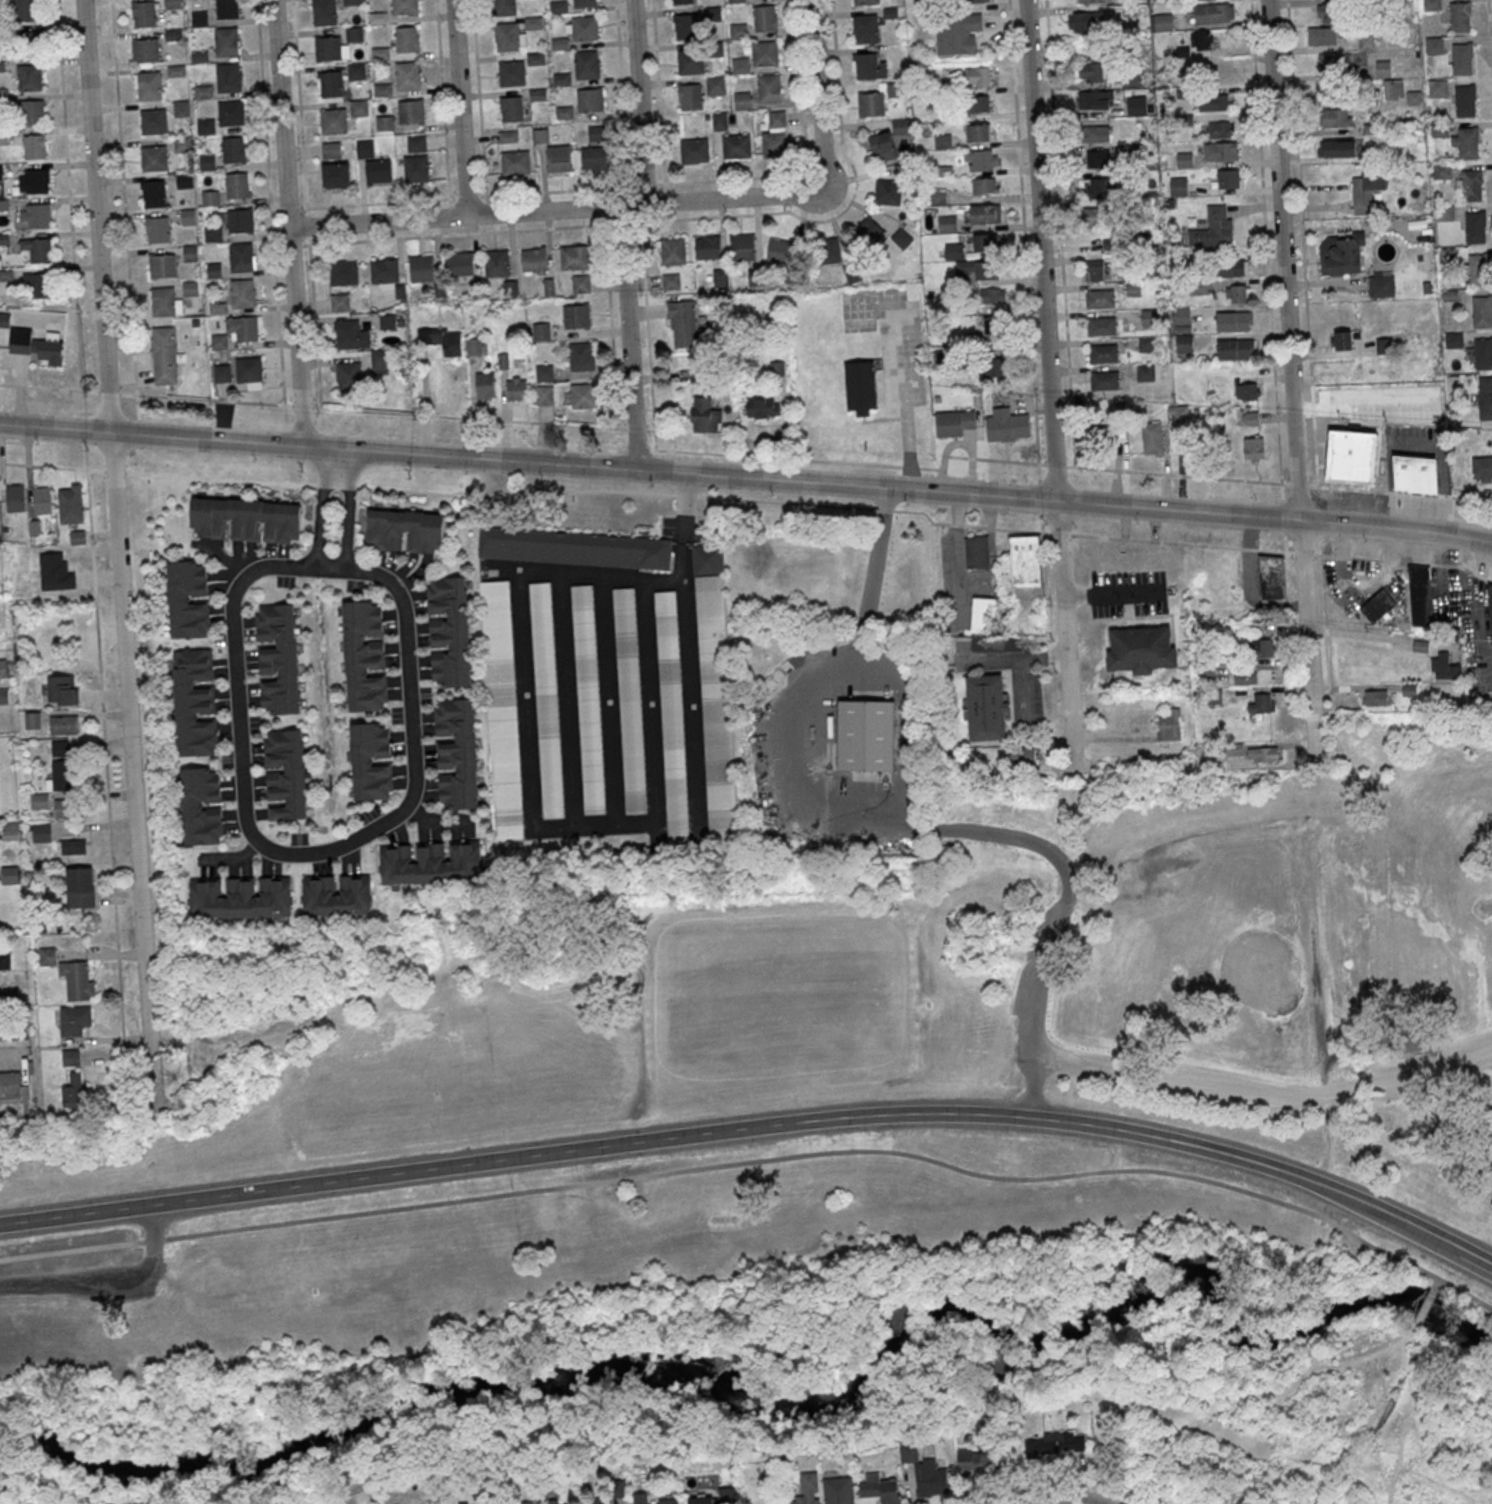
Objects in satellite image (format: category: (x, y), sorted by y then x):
building: (978, 1)
building: (1094, 1)
building: (351, 2)
building: (682, 2)
building: (865, 2)
building: (585, 3)
building: (1432, 4)
building: (405, 7)
building: (506, 7)
building: (226, 8)
building: (24, 9)
building: (325, 12)
building: (1328, 12)
building: (143, 13)
building: (1213, 13)
building: (1460, 16)
building: (766, 18)
building: (1084, 21)
building: (1161, 22)
building: (688, 26)
building: (866, 28)
road: (1490, 28)
building: (738, 31)
building: (957, 33)
building: (354, 34)
building: (1322, 35)
building: (509, 37)
building: (408, 39)
building: (225, 41)
building: (1366, 41)
building: (1198, 42)
building: (1434, 45)
building: (331, 48)
building: (145, 49)
building: (1090, 49)
building: (765, 53)
building: (1462, 57)
building: (690, 61)
building: (1334, 61)
building: (587, 64)
building: (740, 65)
building: (869, 65)
building: (1383, 68)
building: (356, 71)
building: (1090, 72)
building: (511, 73)
building: (408, 75)
building: (978, 76)
building: (29, 77)
building: (227, 77)
building: (1133, 79)
building: (330, 83)
building: (148, 85)
building: (716, 85)
building: (769, 88)
building: (1438, 88)
building: (1393, 89)
building: (383, 90)
road: (800, 90)
road: (817, 93)
road: (658, 94)
road: (622, 96)
building: (692, 96)
building: (590, 100)
building: (743, 100)
building: (1096, 100)
building: (1465, 100)
road: (478, 101)
road: (442, 102)
road: (639, 102)
building: (1214, 102)
building: (871, 103)
building: (981, 103)
building: (1136, 105)
building: (359, 107)
road: (460, 107)
building: (183, 108)
building: (512, 108)
building: (32, 111)
building: (230, 111)
building: (411, 111)
building: (1336, 117)
building: (776, 118)
building: (334, 120)
building: (719, 120)
building: (153, 121)
building: (384, 122)
building: (901, 126)
building: (1219, 129)
building: (978, 132)
building: (1095, 133)
building: (943, 141)
building: (416, 143)
building: (1468, 143)
building: (182, 144)
building: (774, 144)
building: (34, 146)
building: (736, 146)
building: (882, 147)
building: (365, 148)
building: (1343, 148)
building: (233, 149)
building: (332, 150)
building: (694, 150)
building: (1220, 151)
building: (154, 158)
building: (559, 158)
building: (595, 158)
building: (1097, 158)
building: (981, 160)
building: (1184, 160)
building: (516, 162)
building: (416, 168)
building: (1442, 171)
building: (379, 172)
road: (819, 172)
building: (337, 175)
road: (734, 177)
building: (1228, 178)
building: (34, 180)
building: (188, 180)
road: (645, 183)
building: (236, 185)
building: (1472, 185)
building: (985, 186)
building: (1178, 186)
road: (807, 187)
building: (1101, 188)
road: (556, 190)
building: (1366, 191)
building: (888, 192)
building: (153, 193)
road: (70, 194)
road: (466, 195)
building: (938, 196)
road: (729, 197)
road: (652, 201)
road: (269, 202)
road: (306, 203)
road: (377, 203)
road: (615, 204)
road: (631, 204)
road: (292, 208)
road: (486, 208)
road: (843, 209)
road: (123, 210)
road: (450, 211)
building: (985, 213)
building: (1445, 213)
building: (35, 215)
road: (457, 217)
building: (1099, 217)
building: (239, 220)
road: (621, 222)
road: (287, 223)
building: (947, 223)
building: (1214, 226)
building: (1475, 227)
building: (157, 229)
building: (868, 230)
road: (1023, 231)
road: (1060, 232)
road: (450, 233)
building: (213, 234)
road: (1302, 242)
building: (985, 243)
building: (708, 247)
building: (743, 247)
building: (38, 249)
building: (781, 250)
building: (830, 250)
building: (673, 251)
building: (954, 251)
building: (191, 252)
building: (1342, 255)
building: (240, 256)
building: (574, 257)
building: (534, 260)
building: (497, 262)
building: (460, 264)
building: (162, 265)
building: (421, 267)
building: (1234, 267)
building: (214, 270)
building: (384, 270)
building: (977, 270)
building: (1094, 270)
building: (1479, 270)
building: (343, 272)
road: (1267, 276)
building: (720, 277)
building: (671, 280)
building: (581, 283)
building: (36, 285)
building: (1381, 286)
building: (191, 288)
building: (241, 292)
building: (1238, 293)
building: (993, 295)
building: (1099, 298)
building: (165, 301)
building: (340, 302)
building: (218, 307)
building: (1482, 311)
building: (577, 316)
building: (4, 319)
building: (1182, 319)
building: (1234, 320)
building: (387, 321)
road: (610, 321)
building: (683, 324)
building: (995, 326)
building: (1101, 326)
building: (237, 331)
building: (541, 331)
building: (351, 335)
road: (628, 336)
building: (442, 339)
building: (1343, 340)
building: (1454, 340)
building: (1184, 343)
building: (1147, 344)
building: (38, 345)
building: (474, 346)
building: (1235, 348)
building: (1103, 353)
building: (1483, 353)
building: (164, 355)
building: (582, 356)
building: (379, 361)
building: (997, 363)
building: (250, 371)
building: (222, 372)
building: (544, 372)
building: (1145, 372)
building: (349, 376)
building: (1105, 380)
road: (1292, 382)
building: (486, 385)
road: (1049, 385)
road: (48, 387)
building: (860, 387)
building: (517, 388)
building: (1247, 391)
road: (108, 393)
building: (544, 395)
building: (583, 395)
road: (905, 396)
road: (205, 398)
building: (1485, 404)
road: (302, 405)
building: (762, 407)
road: (1360, 407)
building: (705, 413)
building: (1178, 415)
road: (482, 418)
building: (955, 422)
building: (1006, 425)
road: (55, 427)
road: (138, 432)
road: (206, 438)
building: (1152, 438)
building: (1253, 448)
road: (401, 453)
road: (739, 454)
road: (140, 460)
building: (1344, 460)
road: (569, 464)
road: (1056, 464)
building: (1481, 466)
road: (1038, 471)
road: (665, 472)
building: (1415, 473)
road: (790, 481)
road: (1279, 482)
road: (972, 493)
road: (1040, 496)
building: (15, 497)
road: (749, 499)
building: (42, 500)
building: (70, 503)
road: (320, 507)
road: (348, 509)
road: (1178, 510)
building: (246, 519)
road: (1396, 529)
building: (405, 530)
building: (575, 548)
road: (1043, 548)
road: (118, 552)
building: (977, 552)
building: (1025, 560)
building: (55, 572)
building: (1272, 576)
road: (650, 577)
road: (1362, 582)
parking lot: (1127, 591)
road: (1114, 594)
building: (188, 598)
building: (1421, 601)
building: (1490, 602)
building: (1378, 606)
building: (984, 615)
building: (450, 631)
road: (1355, 633)
building: (996, 645)
building: (1262, 647)
building: (1141, 648)
building: (364, 655)
building: (278, 658)
road: (988, 659)
building: (1443, 666)
building: (3, 667)
road: (1019, 668)
building: (1245, 677)
building: (63, 690)
building: (716, 694)
building: (4, 696)
building: (1375, 698)
building: (546, 699)
building: (589, 699)
building: (631, 700)
building: (194, 702)
building: (1261, 702)
building: (987, 708)
building: (502, 709)
building: (672, 715)
building: (32, 720)
building: (63, 724)
building: (1170, 726)
building: (868, 736)
building: (60, 748)
building: (1233, 749)
building: (456, 753)
building: (1263, 754)
building: (1025, 756)
building: (371, 761)
building: (285, 774)
building: (61, 775)
road: (107, 784)
road: (1088, 804)
building: (201, 806)
building: (65, 808)
building: (10, 830)
road: (894, 830)
building: (41, 831)
building: (73, 846)
road: (269, 848)
road: (1058, 850)
building: (431, 862)
building: (10, 874)
building: (80, 887)
building: (336, 895)
building: (241, 897)
park: (1064, 906)
park: (1227, 927)
building: (46, 955)
building: (5, 960)
parking lot: (1036, 968)
building: (77, 979)
park: (782, 993)
building: (74, 1019)
parking lot: (1425, 1069)
building: (12, 1084)
building: (73, 1090)
road: (1263, 1094)
road: (834, 1117)
road: (760, 1161)
road: (76, 1215)
park: (715, 1248)
road: (106, 1284)
parking lot: (88, 1285)
road: (1425, 1304)
road: (679, 1309)
park: (90, 1383)
river: (817, 1396)
road: (1249, 1398)
road: (1404, 1422)
building: (1057, 1444)
road: (1092, 1444)
building: (907, 1455)
building: (981, 1461)
road: (1428, 1468)
building: (932, 1479)
road: (1028, 1487)
building: (618, 1488)
building: (808, 1489)
building: (881, 1489)
building: (839, 1491)
building: (727, 1495)
building: (652, 1499)
building: (702, 1499)
building: (545, 1502)
building: (598, 1502)
road: (1083, 1502)
building: (464, 1503)

